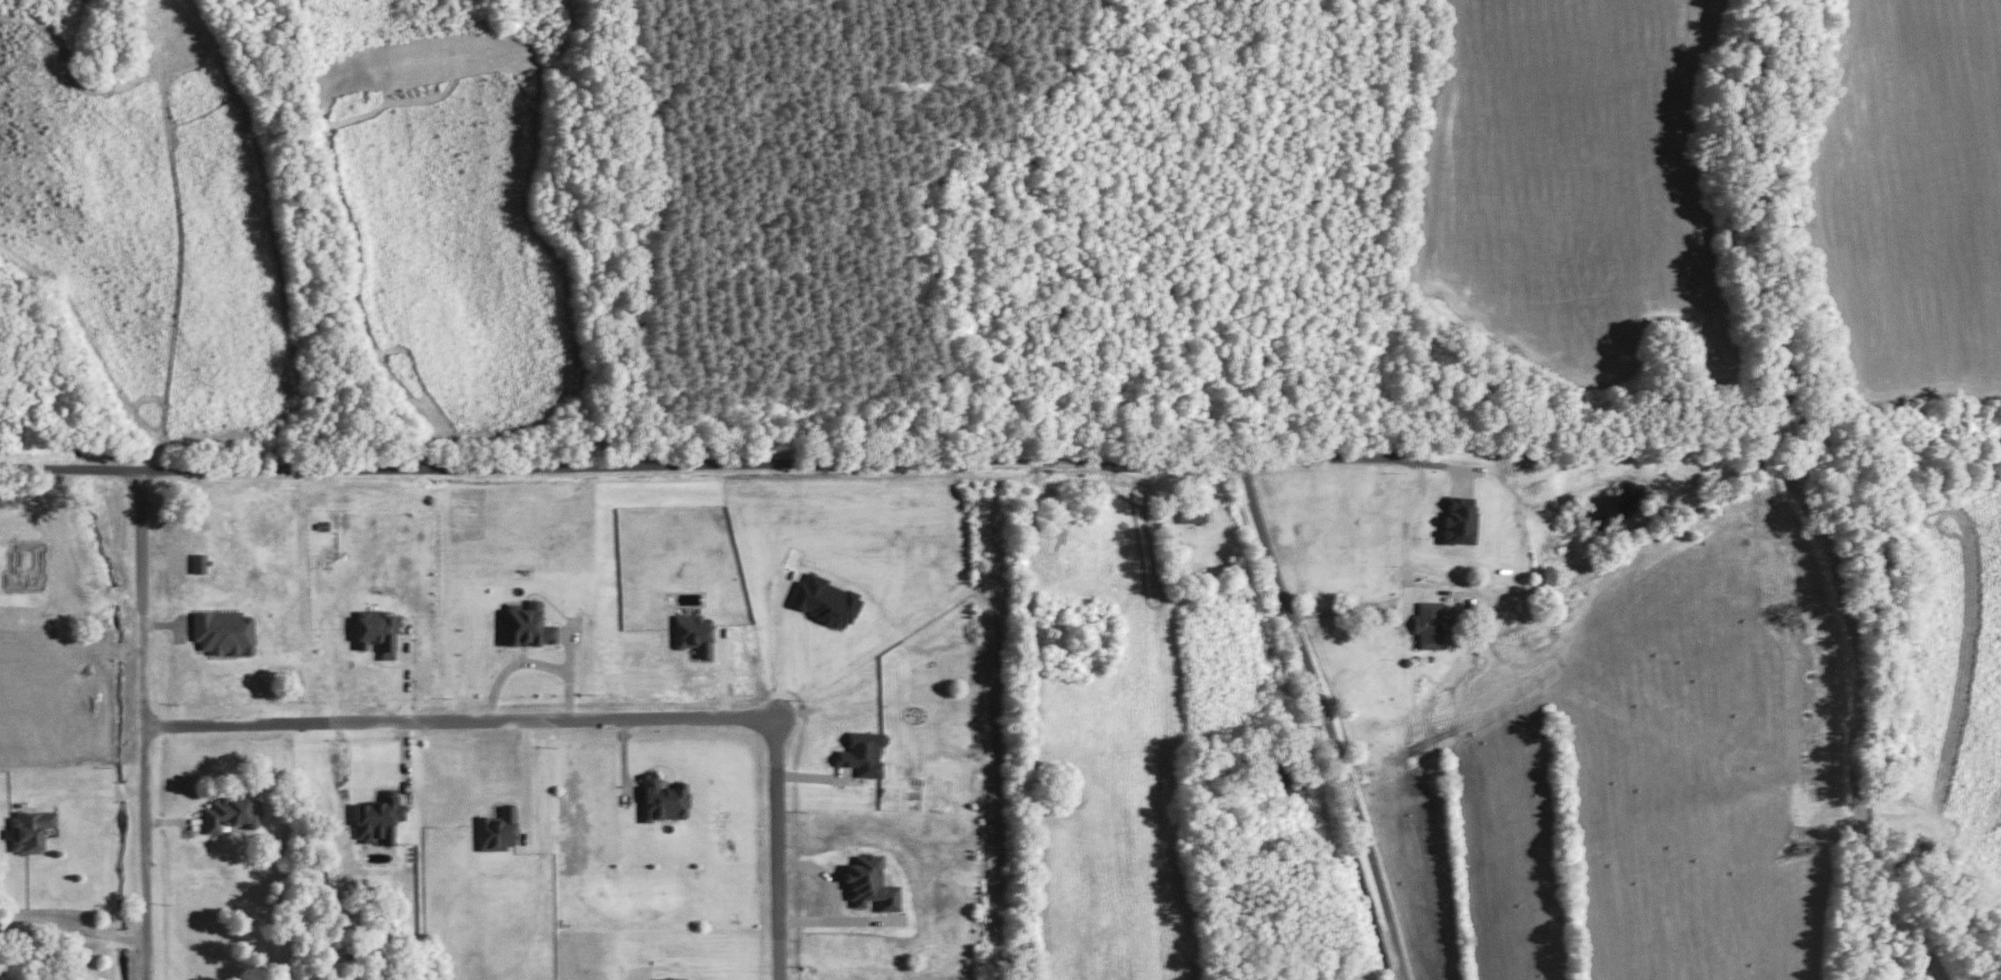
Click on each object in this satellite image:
road: (713, 463)
building: (1191, 514)
building: (1459, 519)
building: (198, 563)
building: (825, 600)
road: (1343, 601)
building: (1427, 624)
building: (527, 625)
building: (378, 630)
building: (223, 632)
building: (693, 633)
road: (779, 656)
road: (1324, 718)
road: (460, 719)
road: (143, 725)
building: (863, 753)
road: (526, 772)
road: (92, 791)
building: (663, 799)
building: (225, 812)
building: (379, 817)
building: (30, 829)
building: (497, 829)
road: (777, 847)
building: (870, 883)
road: (72, 928)
building: (671, 978)

